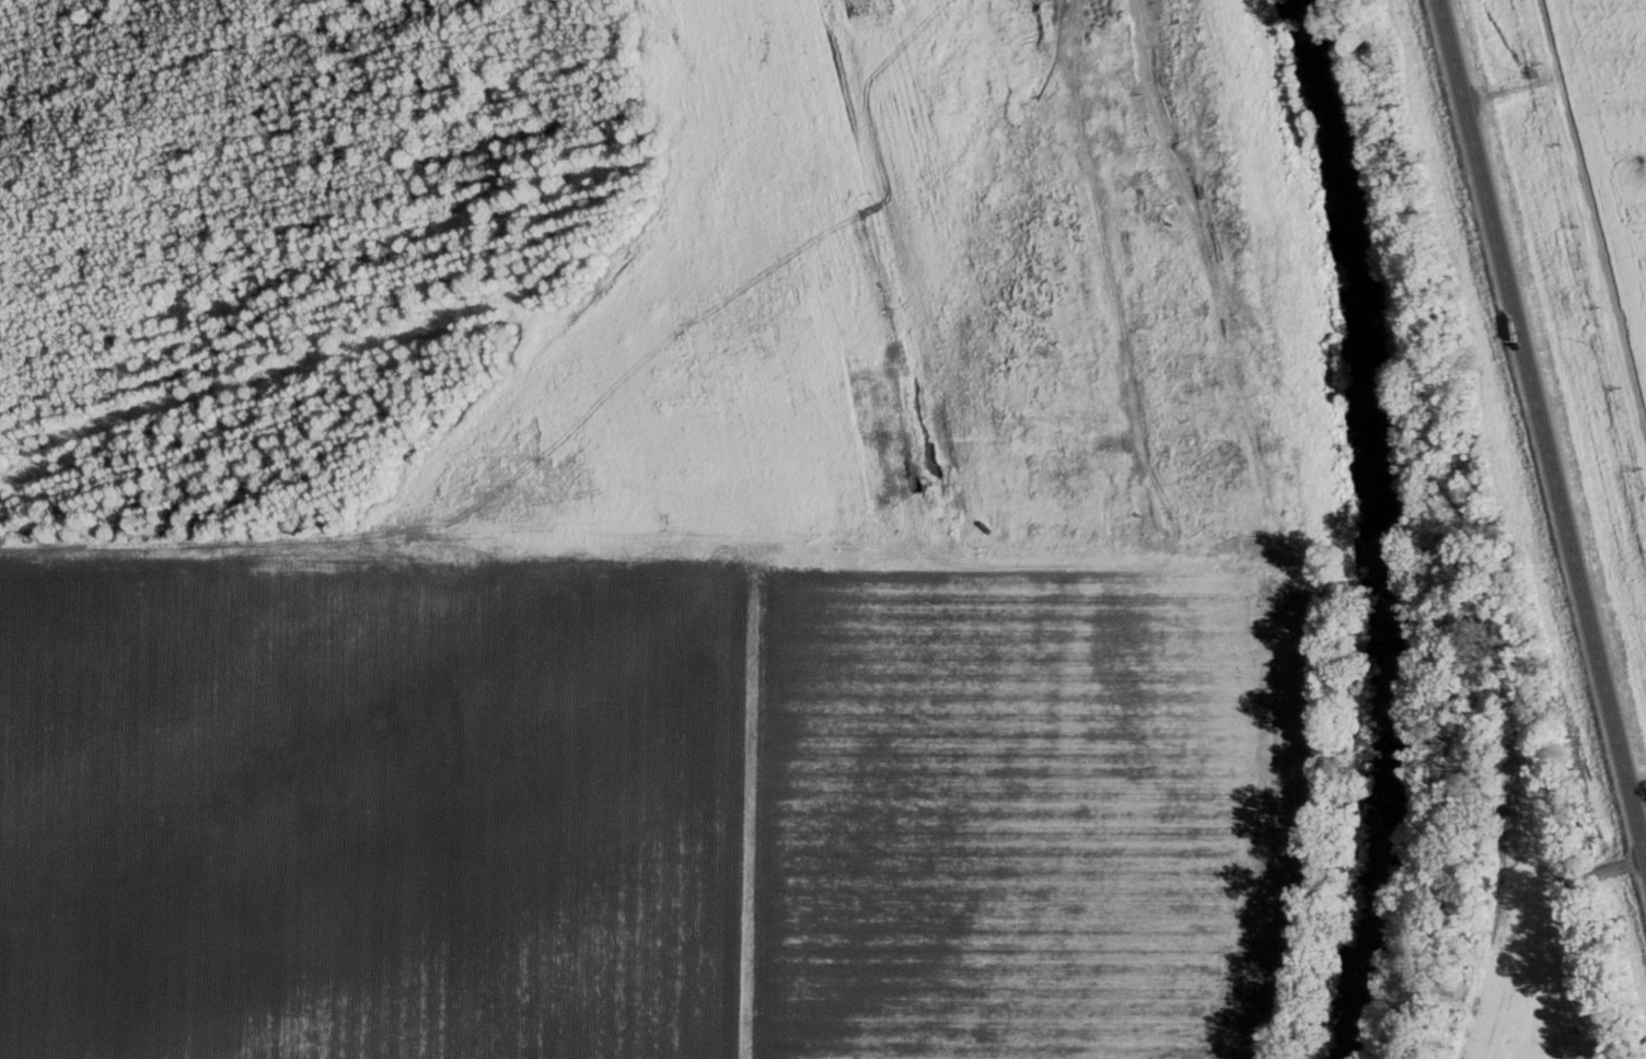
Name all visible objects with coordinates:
building: (1176, 7)
road: (1544, 410)
river: (1396, 527)

